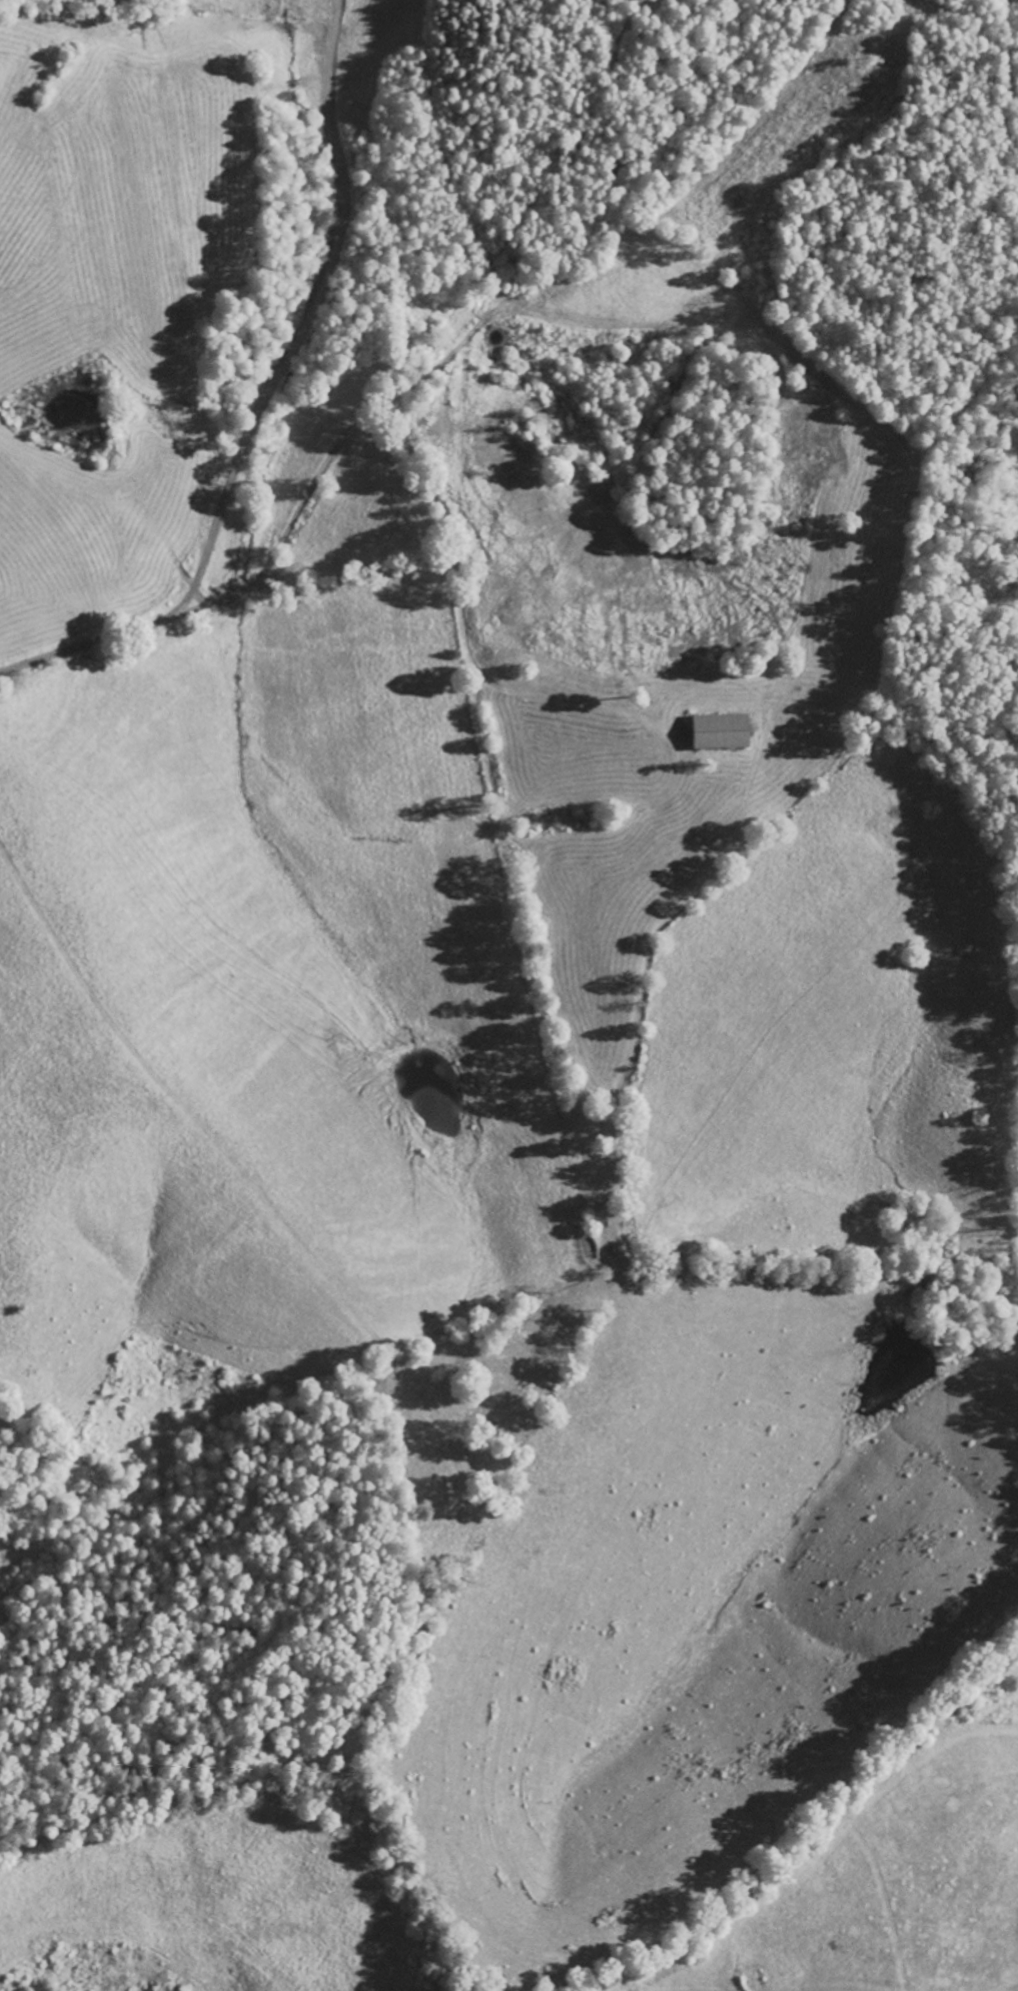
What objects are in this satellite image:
road: (264, 395)
building: (713, 731)
road: (1011, 1988)

